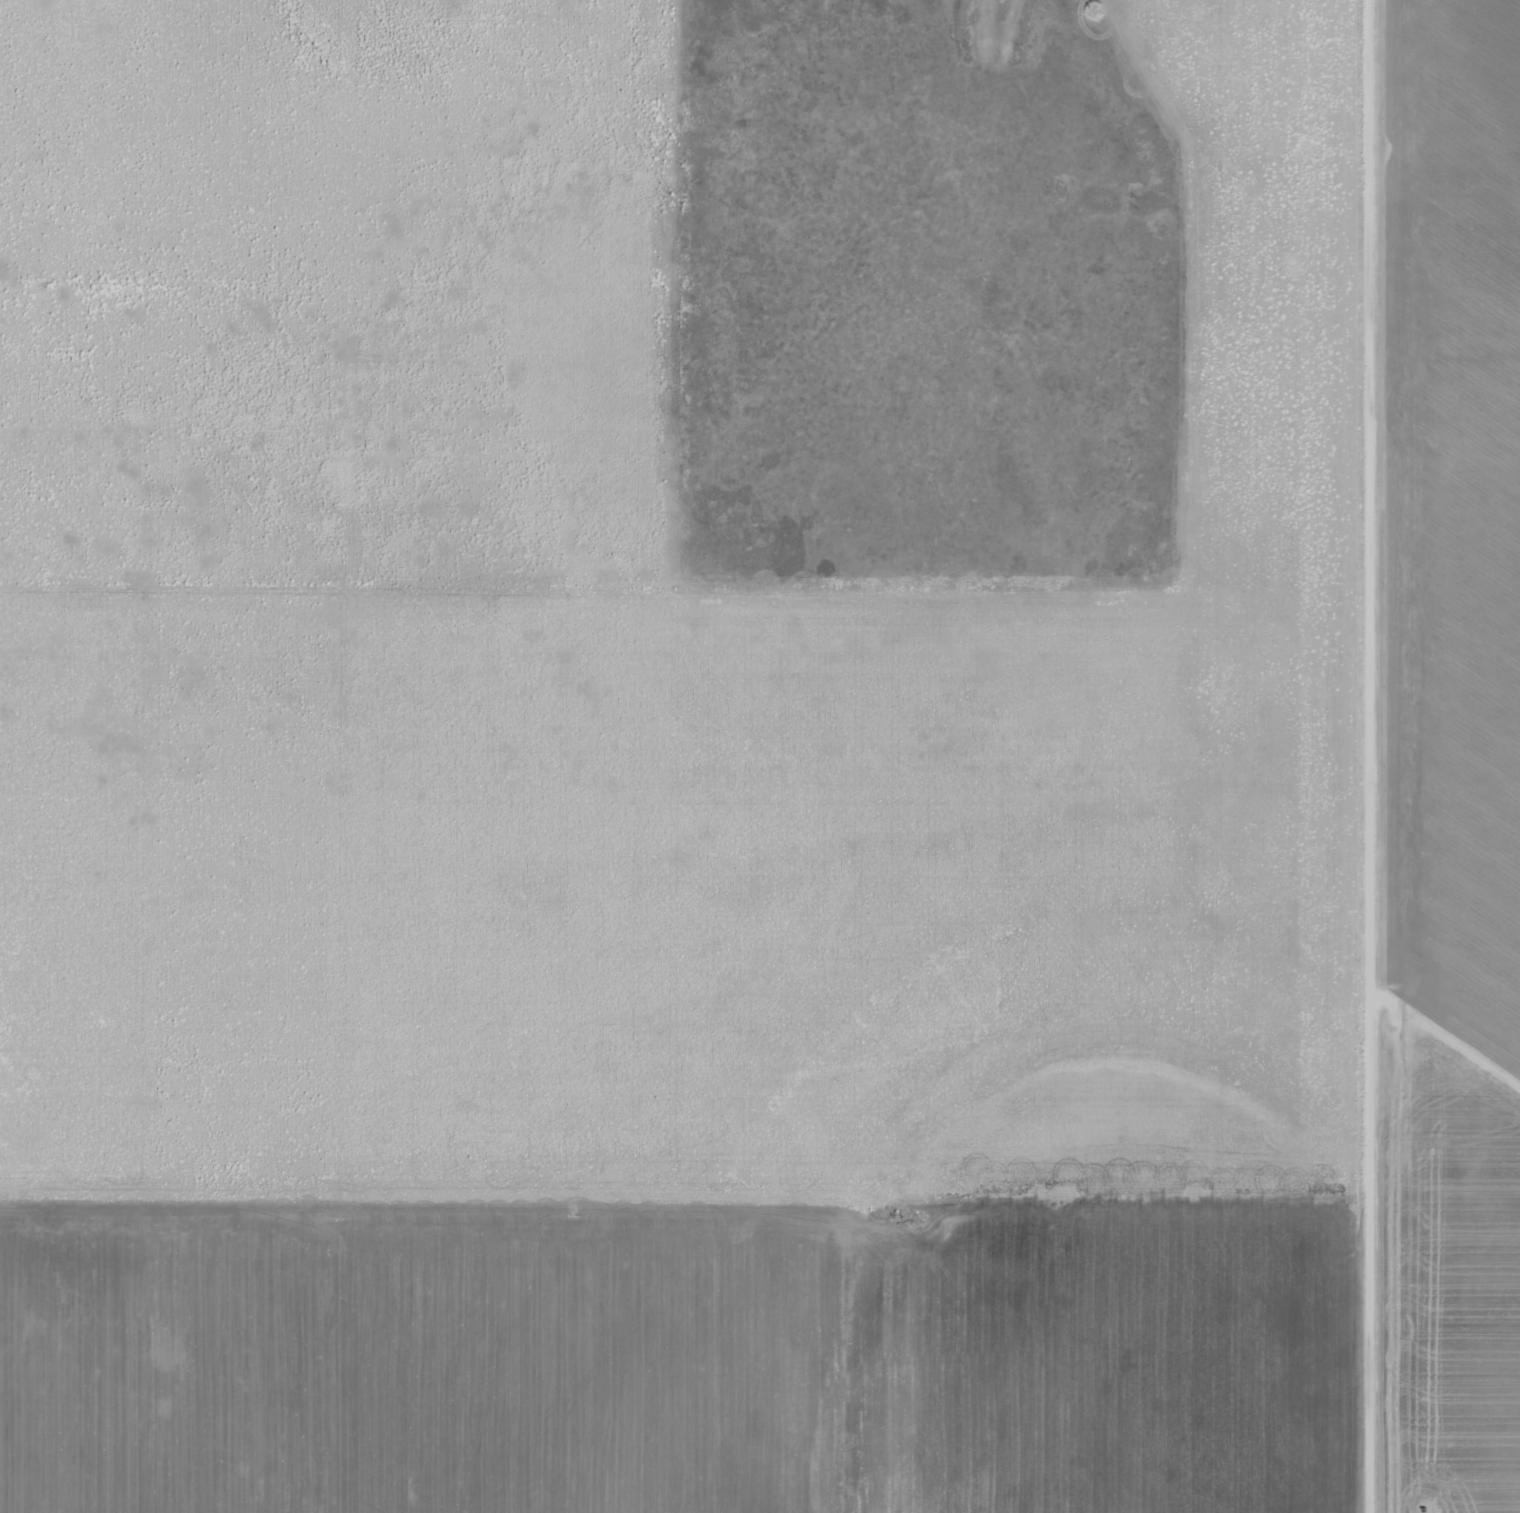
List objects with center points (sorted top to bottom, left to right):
road: (1349, 756)

